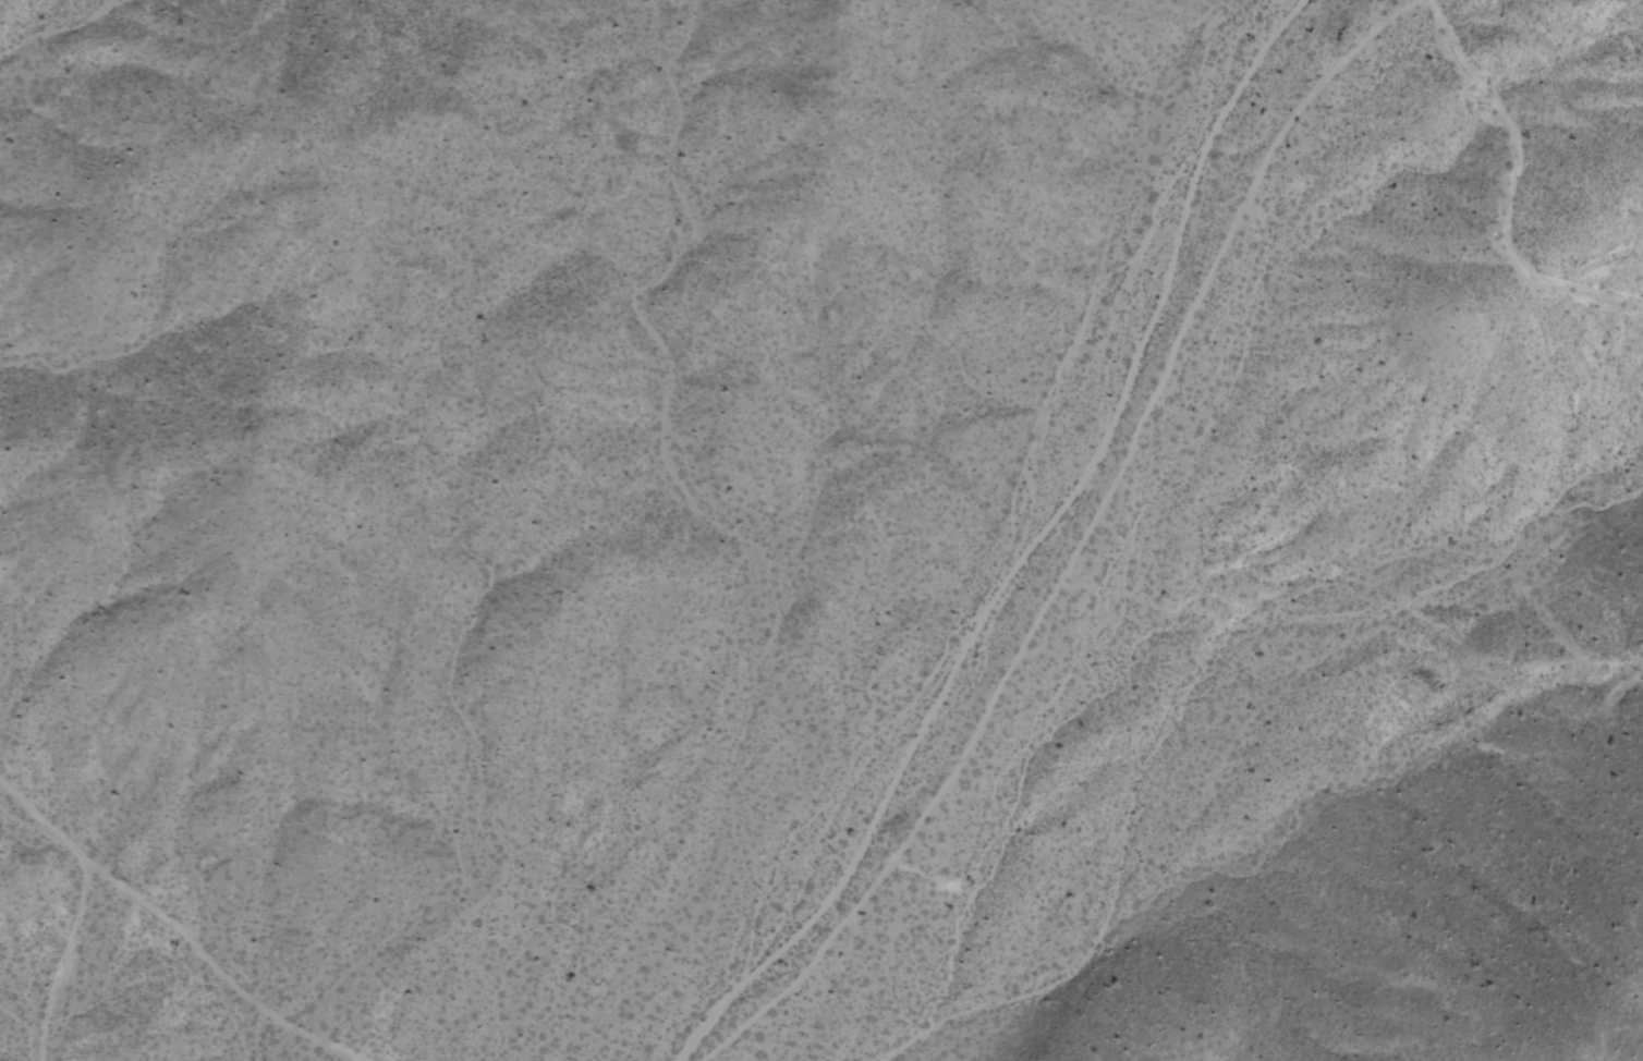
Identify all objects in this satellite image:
road: (1099, 511)
road: (80, 903)
road: (200, 969)

